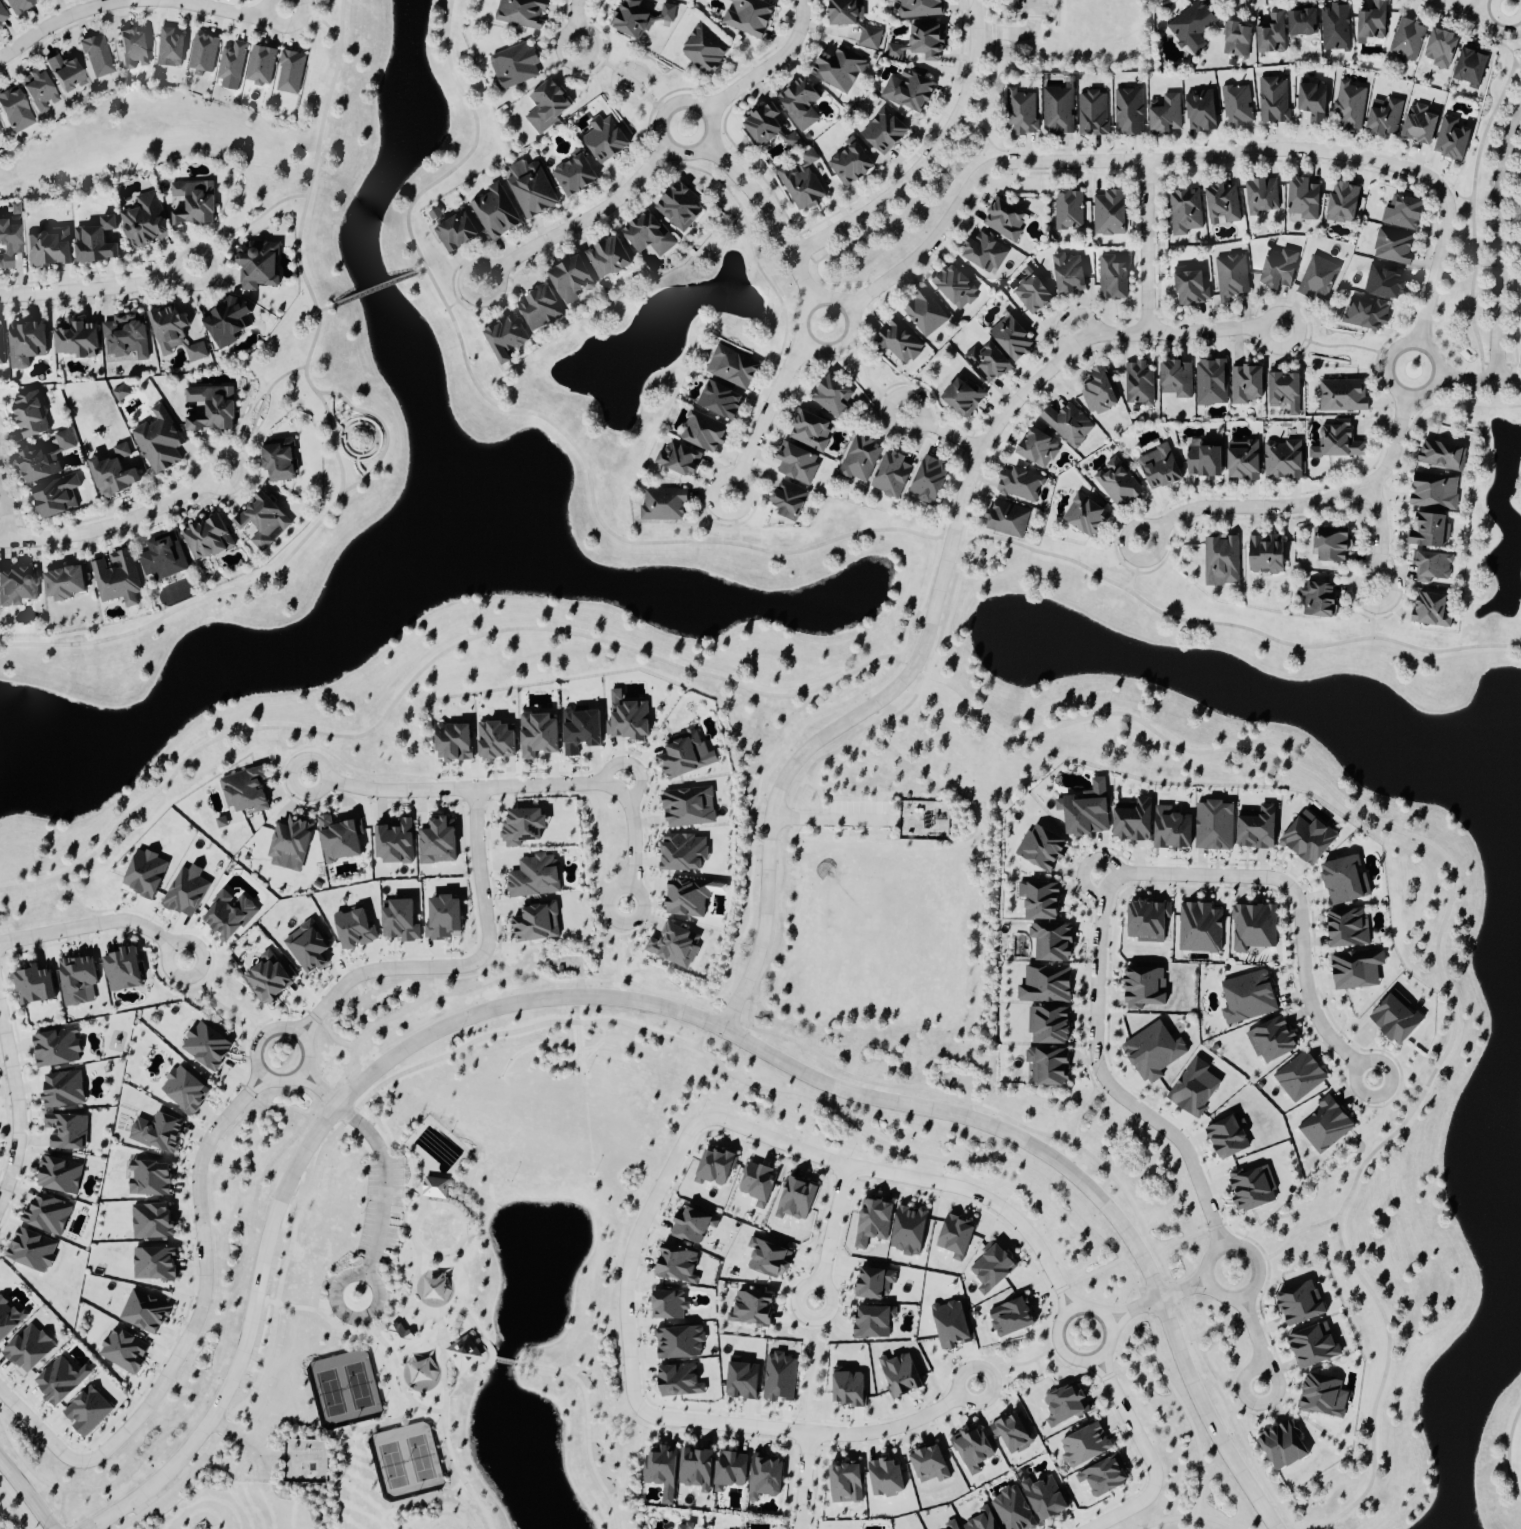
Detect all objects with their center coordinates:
road: (136, 0)
building: (17, 6)
road: (1457, 6)
building: (920, 8)
parking lot: (1033, 8)
building: (522, 12)
building: (845, 12)
road: (1057, 12)
building: (749, 16)
road: (1024, 16)
building: (2, 17)
road: (314, 17)
building: (640, 17)
building: (1303, 22)
building: (1373, 22)
road: (579, 23)
building: (1193, 26)
building: (1335, 27)
road: (1492, 27)
road: (1019, 33)
building: (1273, 34)
building: (870, 37)
park: (1066, 37)
building: (1237, 38)
building: (1408, 38)
building: (929, 40)
building: (170, 47)
building: (133, 48)
building: (1442, 48)
building: (705, 49)
building: (894, 51)
building: (202, 53)
building: (97, 56)
building: (231, 62)
building: (260, 65)
building: (515, 65)
road: (770, 65)
building: (1472, 67)
building: (839, 69)
building: (290, 72)
building: (65, 73)
road: (623, 76)
building: (39, 91)
building: (909, 91)
building: (1273, 100)
building: (1314, 102)
building: (800, 103)
building: (1236, 104)
building: (547, 106)
building: (1349, 106)
building: (14, 110)
building: (1058, 110)
building: (1202, 111)
building: (1023, 112)
building: (1128, 112)
building: (1093, 113)
building: (1165, 113)
building: (1385, 116)
building: (766, 124)
building: (1421, 124)
building: (884, 131)
building: (605, 139)
building: (791, 139)
building: (1452, 139)
road: (472, 146)
road: (667, 147)
road: (995, 147)
road: (1029, 147)
road: (314, 156)
road: (931, 158)
road: (1197, 160)
building: (850, 162)
road: (942, 165)
building: (575, 174)
building: (802, 182)
building: (531, 188)
road: (756, 194)
building: (1262, 195)
building: (1304, 198)
building: (194, 202)
building: (1223, 202)
building: (1344, 202)
building: (680, 208)
building: (1068, 210)
building: (496, 211)
building: (1185, 211)
building: (1404, 212)
building: (1109, 213)
building: (1004, 219)
building: (144, 221)
road: (582, 223)
building: (456, 231)
building: (648, 234)
building: (10, 238)
building: (96, 242)
road: (1500, 245)
building: (49, 247)
road: (1148, 247)
building: (1393, 247)
building: (985, 252)
building: (608, 257)
building: (258, 265)
building: (1280, 268)
road: (421, 270)
building: (1069, 273)
building: (1231, 277)
road: (803, 278)
building: (1318, 278)
building: (571, 279)
building: (1113, 279)
building: (1386, 282)
building: (955, 286)
building: (1192, 288)
road: (374, 289)
road: (100, 291)
road: (465, 295)
building: (1032, 295)
road: (324, 308)
building: (540, 308)
building: (924, 313)
building: (1366, 313)
building: (227, 322)
building: (175, 333)
building: (126, 337)
building: (1012, 337)
building: (506, 338)
building: (77, 339)
building: (26, 343)
road: (808, 343)
building: (899, 343)
road: (1335, 344)
building: (1, 348)
building: (987, 362)
building: (732, 367)
building: (1176, 379)
road: (869, 382)
road: (1468, 382)
building: (1211, 383)
road: (1510, 383)
building: (1138, 384)
building: (1247, 384)
road: (1394, 388)
building: (120, 392)
building: (1098, 392)
building: (1286, 392)
building: (1343, 396)
building: (833, 397)
building: (962, 397)
building: (720, 400)
building: (208, 409)
road: (257, 410)
building: (30, 415)
road: (767, 419)
building: (1068, 425)
building: (811, 430)
building: (703, 432)
road: (943, 432)
building: (161, 439)
park: (353, 439)
building: (1338, 442)
building: (1038, 449)
building: (46, 455)
building: (1442, 455)
building: (679, 458)
building: (860, 459)
building: (1204, 460)
building: (1283, 460)
building: (797, 463)
building: (279, 465)
building: (1159, 468)
building: (113, 472)
building: (892, 475)
building: (930, 480)
building: (1117, 483)
building: (1020, 485)
building: (1435, 491)
building: (56, 496)
building: (790, 500)
building: (663, 505)
road: (1302, 506)
building: (1085, 516)
road: (8, 517)
building: (1007, 519)
building: (260, 522)
road: (117, 526)
road: (902, 530)
building: (1430, 530)
road: (1382, 537)
building: (208, 539)
building: (1332, 544)
building: (1268, 554)
building: (162, 558)
building: (1221, 560)
building: (1432, 566)
road: (1135, 567)
road: (275, 568)
building: (116, 578)
building: (65, 583)
building: (17, 586)
road: (936, 597)
building: (1318, 600)
building: (1431, 610)
road: (1372, 614)
building: (629, 721)
building: (582, 730)
building: (538, 735)
building: (496, 741)
building: (454, 743)
building: (686, 755)
road: (816, 759)
road: (522, 784)
building: (247, 791)
road: (818, 800)
building: (689, 808)
building: (1087, 811)
road: (841, 818)
building: (1134, 821)
building: (221, 822)
road: (872, 824)
building: (1215, 826)
building: (523, 827)
building: (1173, 829)
building: (1258, 829)
road: (836, 832)
building: (1309, 838)
building: (339, 840)
building: (395, 843)
building: (437, 843)
building: (290, 845)
building: (1042, 848)
building: (684, 853)
road: (1086, 864)
building: (145, 875)
building: (535, 877)
building: (1344, 881)
building: (186, 892)
building: (688, 898)
building: (1040, 901)
park: (894, 908)
road: (1298, 908)
building: (229, 915)
building: (443, 918)
building: (399, 921)
road: (96, 922)
building: (537, 922)
building: (1148, 922)
building: (1253, 927)
building: (1200, 928)
building: (354, 929)
building: (1348, 929)
park: (879, 931)
road: (1436, 938)
building: (1052, 943)
building: (674, 946)
building: (307, 947)
road: (463, 965)
building: (1357, 969)
building: (123, 970)
building: (270, 978)
building: (77, 981)
road: (481, 983)
building: (1046, 985)
building: (34, 986)
building: (1145, 988)
building: (1249, 998)
road: (219, 999)
road: (658, 1005)
building: (1396, 1019)
building: (1049, 1026)
road: (288, 1027)
road: (705, 1027)
road: (652, 1031)
road: (330, 1036)
building: (1273, 1041)
building: (206, 1046)
building: (56, 1048)
building: (1154, 1052)
building: (1047, 1067)
building: (1300, 1076)
road: (1104, 1080)
road: (319, 1086)
building: (1194, 1088)
building: (63, 1090)
building: (184, 1091)
road: (1391, 1095)
road: (966, 1097)
road: (18, 1103)
road: (1085, 1105)
road: (278, 1106)
building: (1326, 1124)
building: (67, 1130)
building: (157, 1131)
building: (1229, 1136)
building: (715, 1166)
building: (59, 1174)
building: (149, 1178)
road: (385, 1180)
building: (758, 1182)
building: (435, 1187)
building: (1252, 1188)
building: (797, 1198)
road: (400, 1208)
road: (648, 1213)
building: (47, 1214)
building: (151, 1220)
road: (397, 1221)
building: (873, 1221)
building: (693, 1224)
building: (909, 1230)
road: (1294, 1232)
road: (831, 1233)
building: (956, 1236)
road: (1184, 1237)
building: (31, 1249)
building: (770, 1257)
building: (154, 1263)
building: (677, 1264)
road: (417, 1266)
building: (992, 1267)
road: (1258, 1271)
road: (348, 1273)
road: (1091, 1273)
building: (874, 1282)
park: (456, 1292)
road: (1156, 1298)
building: (1301, 1302)
building: (668, 1304)
road: (428, 1308)
building: (753, 1308)
road: (1089, 1308)
building: (144, 1312)
building: (9, 1316)
building: (1011, 1317)
road: (422, 1320)
building: (874, 1322)
building: (951, 1323)
road: (1219, 1325)
road: (476, 1326)
road: (189, 1332)
road: (1255, 1339)
building: (679, 1342)
building: (1314, 1345)
building: (28, 1349)
building: (123, 1350)
road: (493, 1356)
road: (504, 1359)
road: (1132, 1362)
road: (399, 1371)
building: (900, 1375)
building: (779, 1377)
building: (61, 1380)
building: (680, 1380)
building: (743, 1380)
park: (345, 1387)
building: (849, 1388)
building: (1322, 1394)
building: (1065, 1405)
building: (87, 1411)
road: (1231, 1412)
road: (631, 1417)
road: (386, 1421)
road: (396, 1422)
road: (588, 1422)
road: (672, 1431)
building: (1013, 1432)
road: (448, 1443)
building: (1084, 1445)
building: (1284, 1445)
building: (972, 1448)
road: (260, 1451)
road: (1508, 1452)
road: (1149, 1455)
park: (406, 1460)
road: (295, 1464)
building: (929, 1464)
road: (264, 1468)
building: (662, 1468)
building: (697, 1468)
building: (731, 1470)
building: (1104, 1475)
building: (766, 1476)
building: (886, 1477)
road: (802, 1480)
building: (847, 1483)
road: (25, 1494)
building: (1045, 1498)
road: (62, 1505)
building: (1012, 1510)
road: (1187, 1515)
road: (16, 1518)
building: (982, 1520)
road: (65, 1523)
building: (952, 1524)
building: (685, 1526)
building: (200, 1527)

